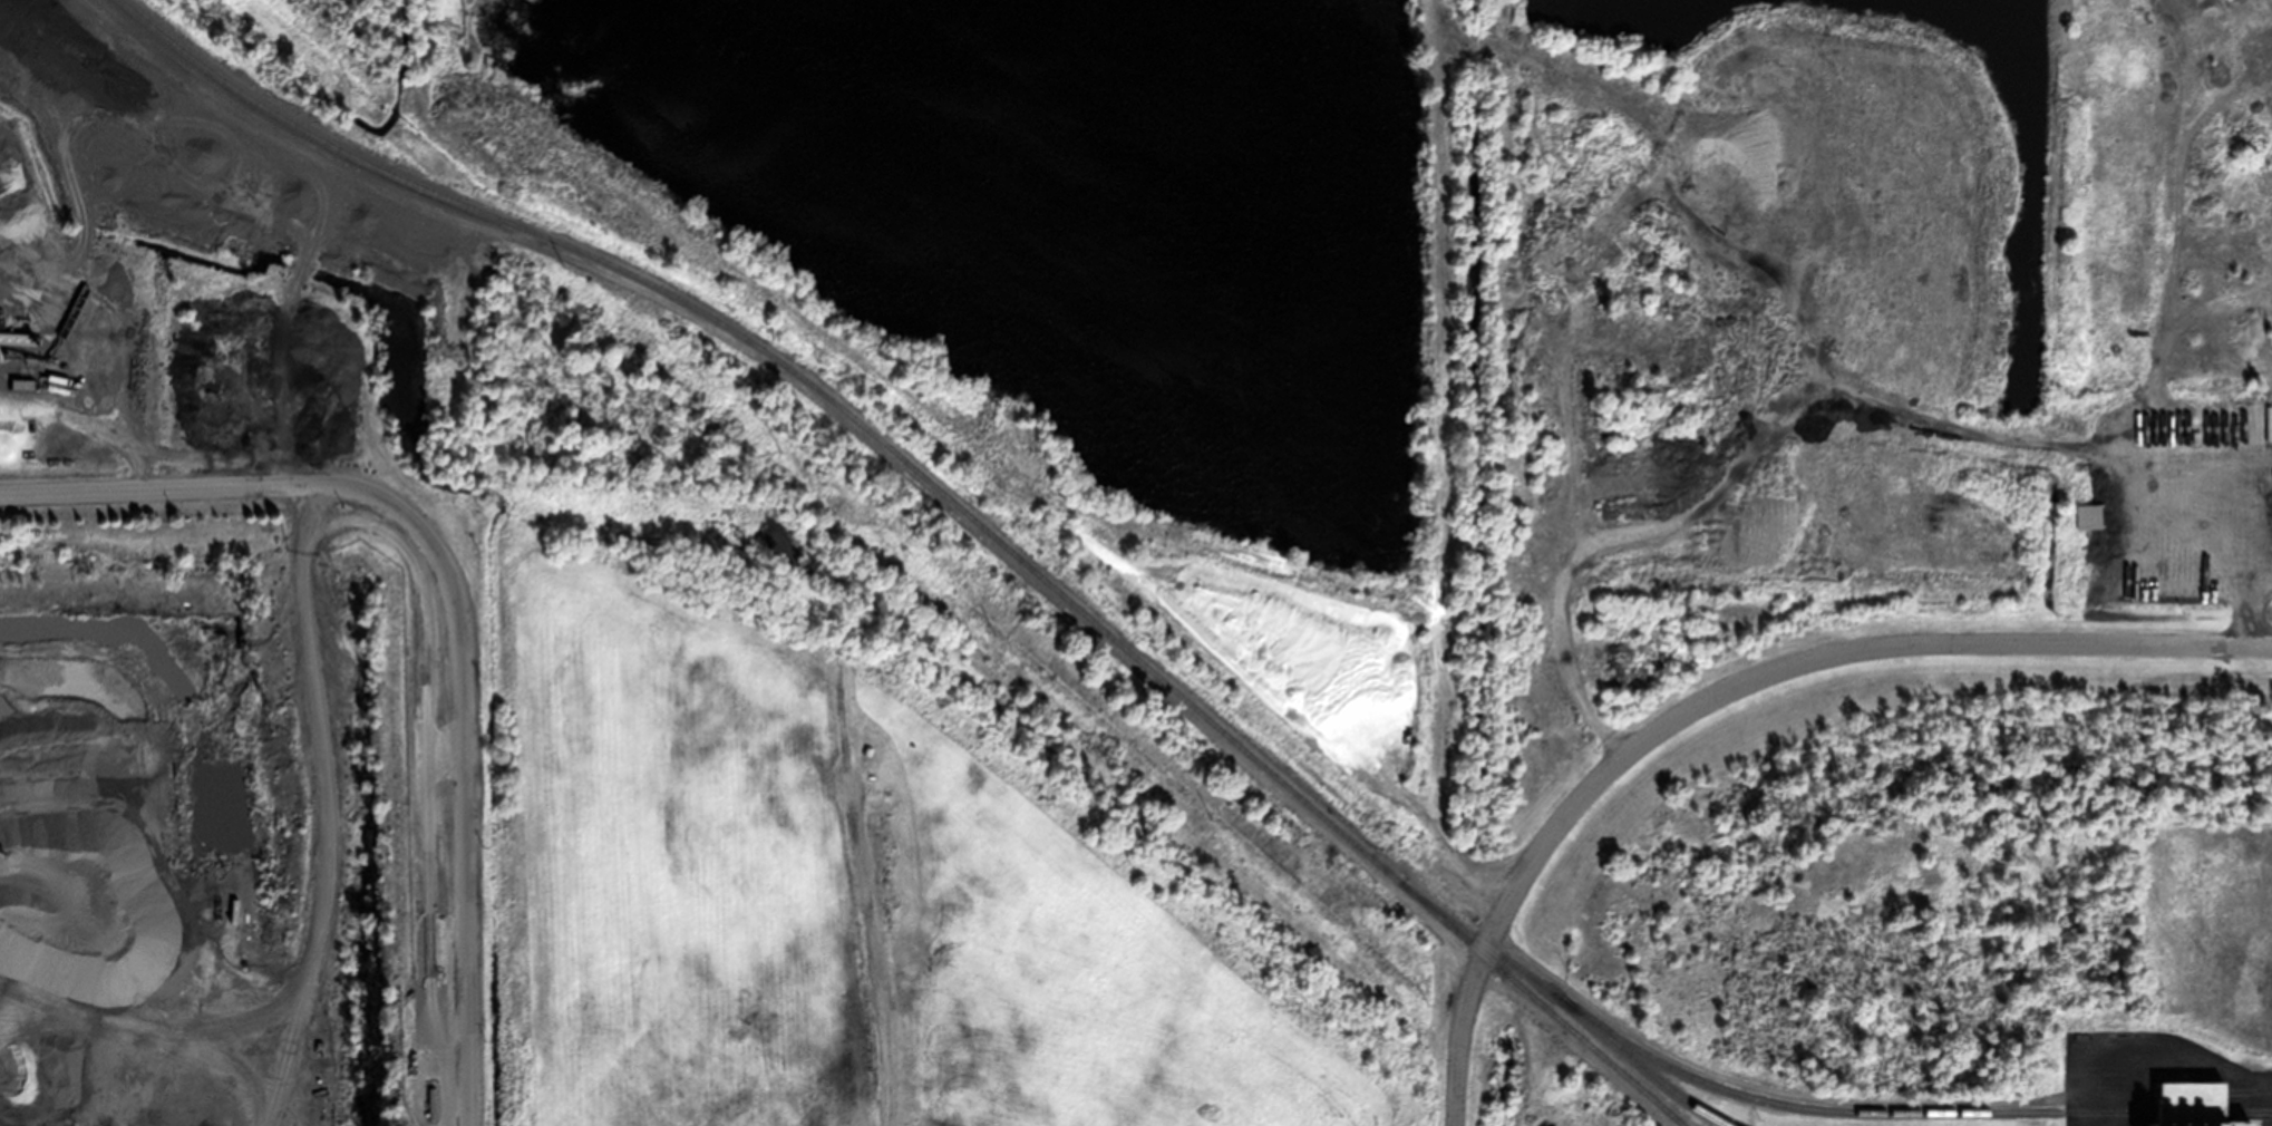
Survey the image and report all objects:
building: (2196, 435)
building: (1507, 496)
railway: (951, 499)
building: (2082, 515)
landfill: (217, 566)
road: (449, 606)
road: (1812, 656)
building: (866, 749)
building: (868, 775)
building: (58, 981)
railway: (1566, 1003)
road: (1455, 1037)
building: (411, 1041)
road: (2174, 1056)
road: (2074, 1090)
railway: (1897, 1110)
building: (2193, 1114)

